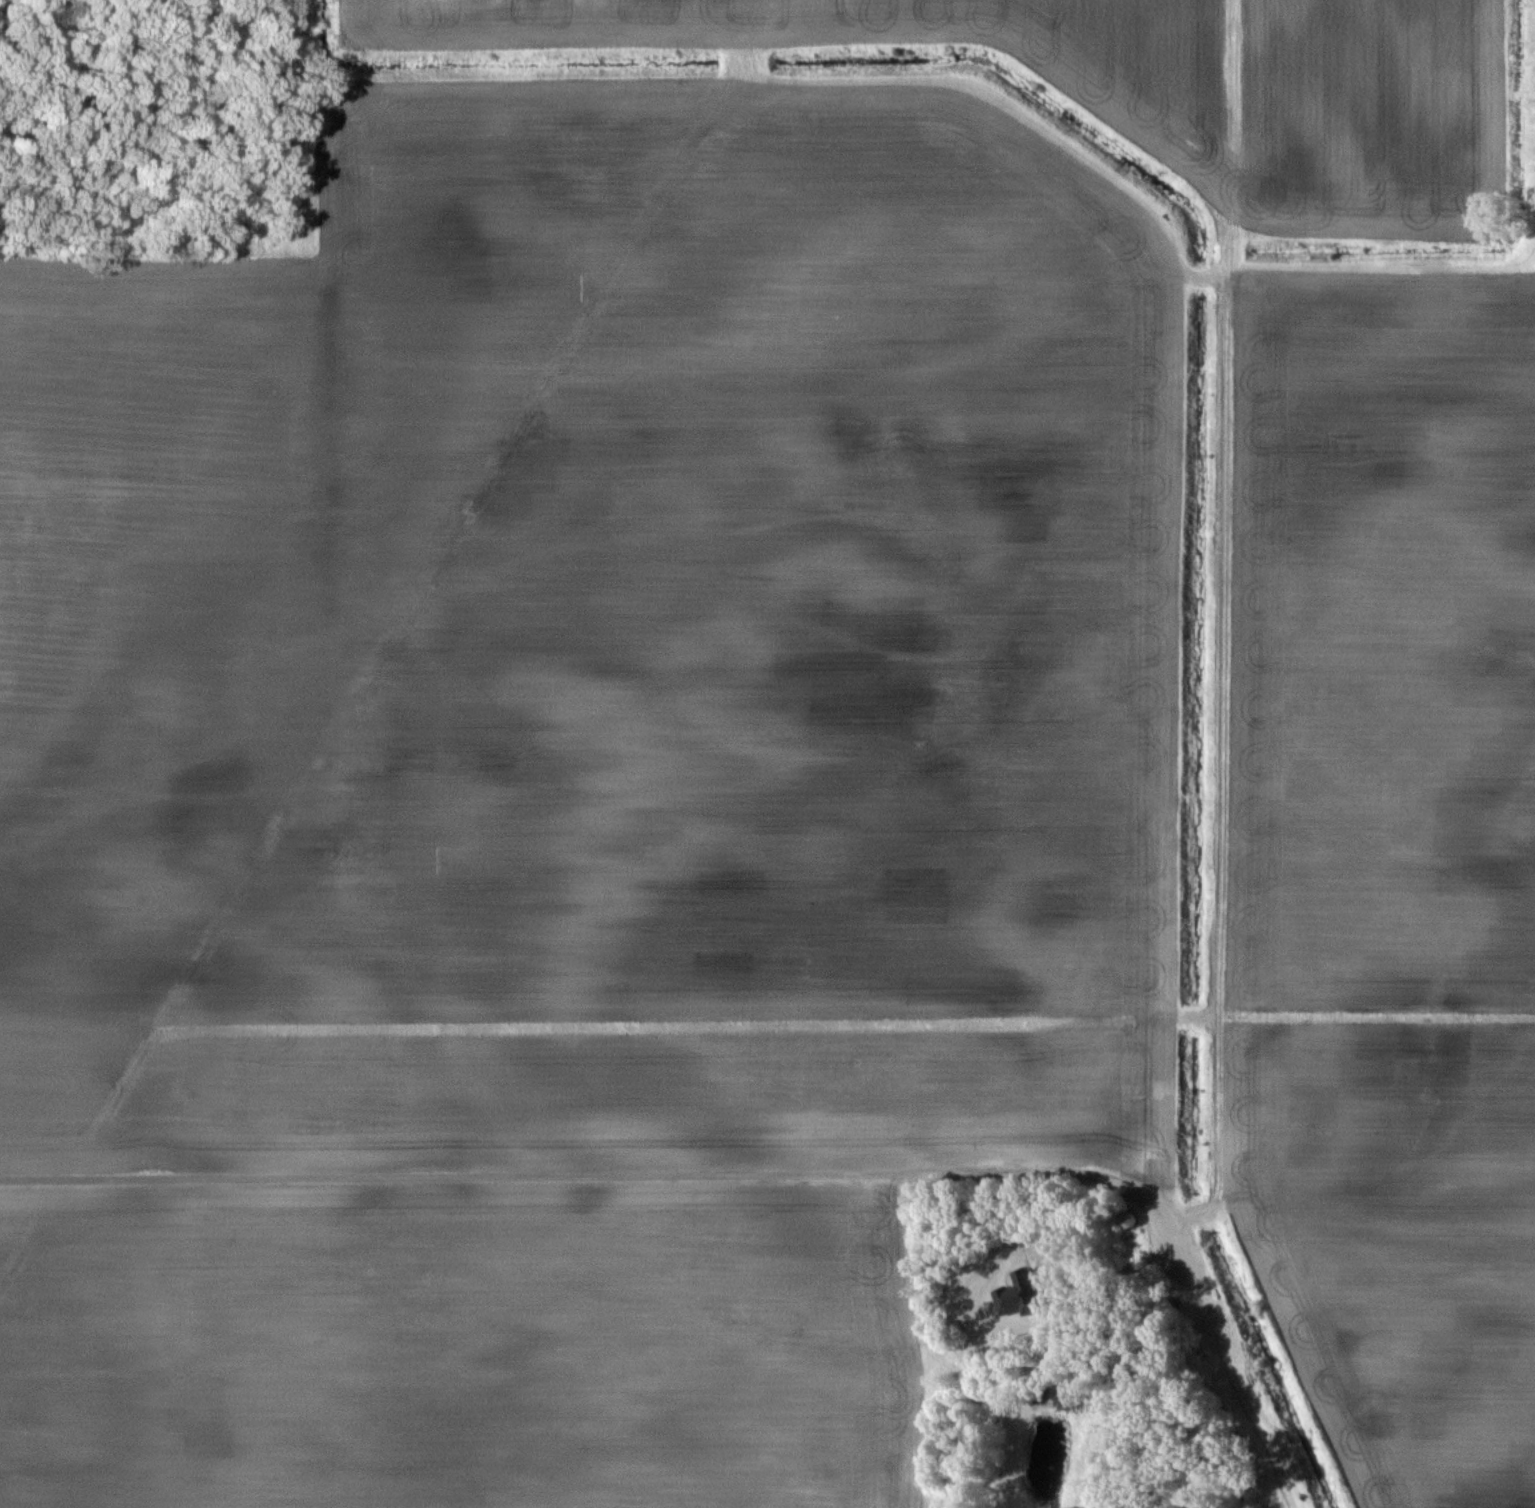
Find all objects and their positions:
building: (1129, 1219)

